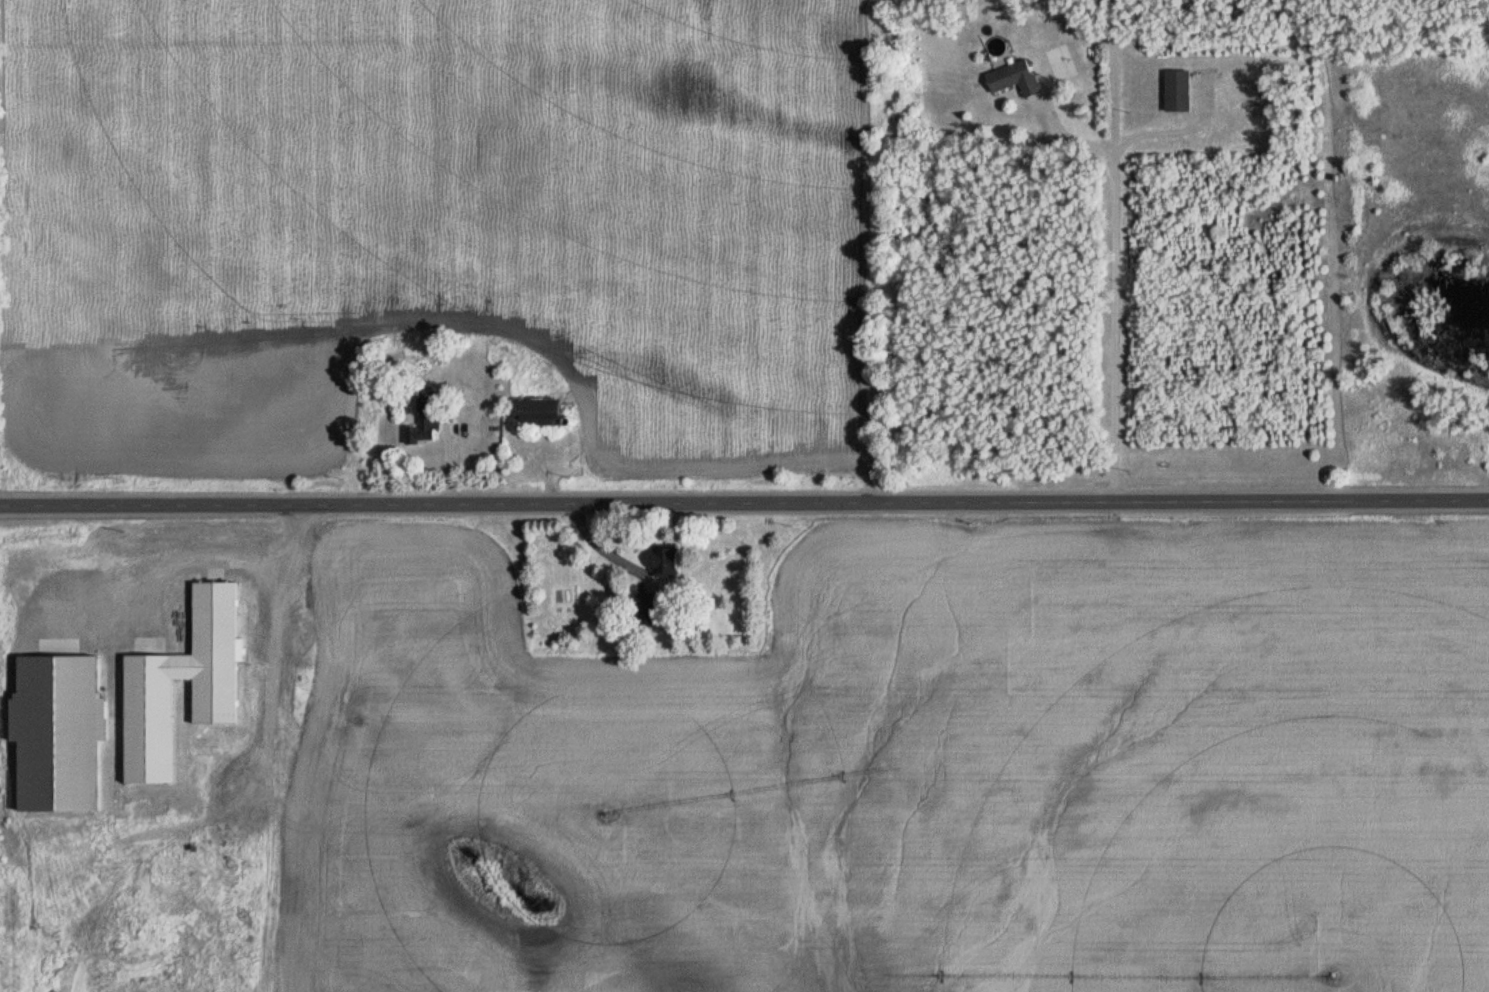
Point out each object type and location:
building: (1012, 78)
building: (1175, 90)
road: (1108, 276)
building: (534, 415)
building: (423, 423)
road: (744, 500)
building: (663, 561)
building: (646, 609)
building: (146, 702)
building: (54, 732)

